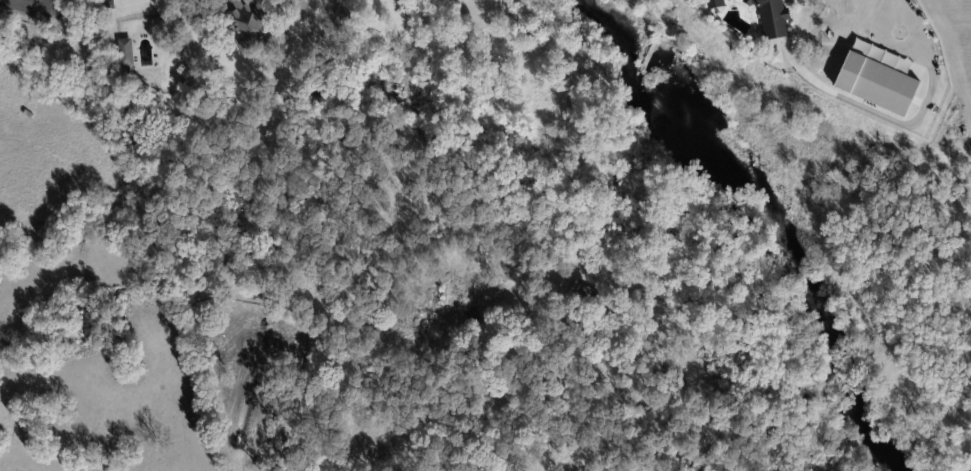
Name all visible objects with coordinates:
building: (714, 3)
road: (894, 7)
road: (285, 9)
building: (772, 17)
building: (253, 25)
road: (323, 26)
road: (901, 43)
road: (210, 44)
road: (170, 51)
building: (126, 52)
building: (877, 83)
road: (573, 129)
building: (587, 295)

